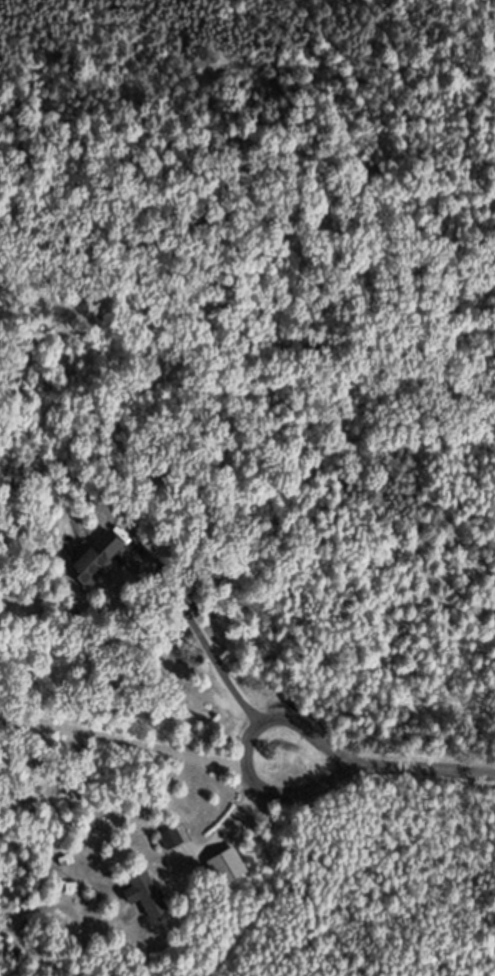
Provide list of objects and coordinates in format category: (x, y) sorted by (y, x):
building: (101, 566)
road: (204, 642)
road: (125, 738)
road: (371, 768)
road: (435, 770)
road: (254, 775)
road: (225, 824)
building: (175, 846)
building: (231, 874)
building: (149, 902)

